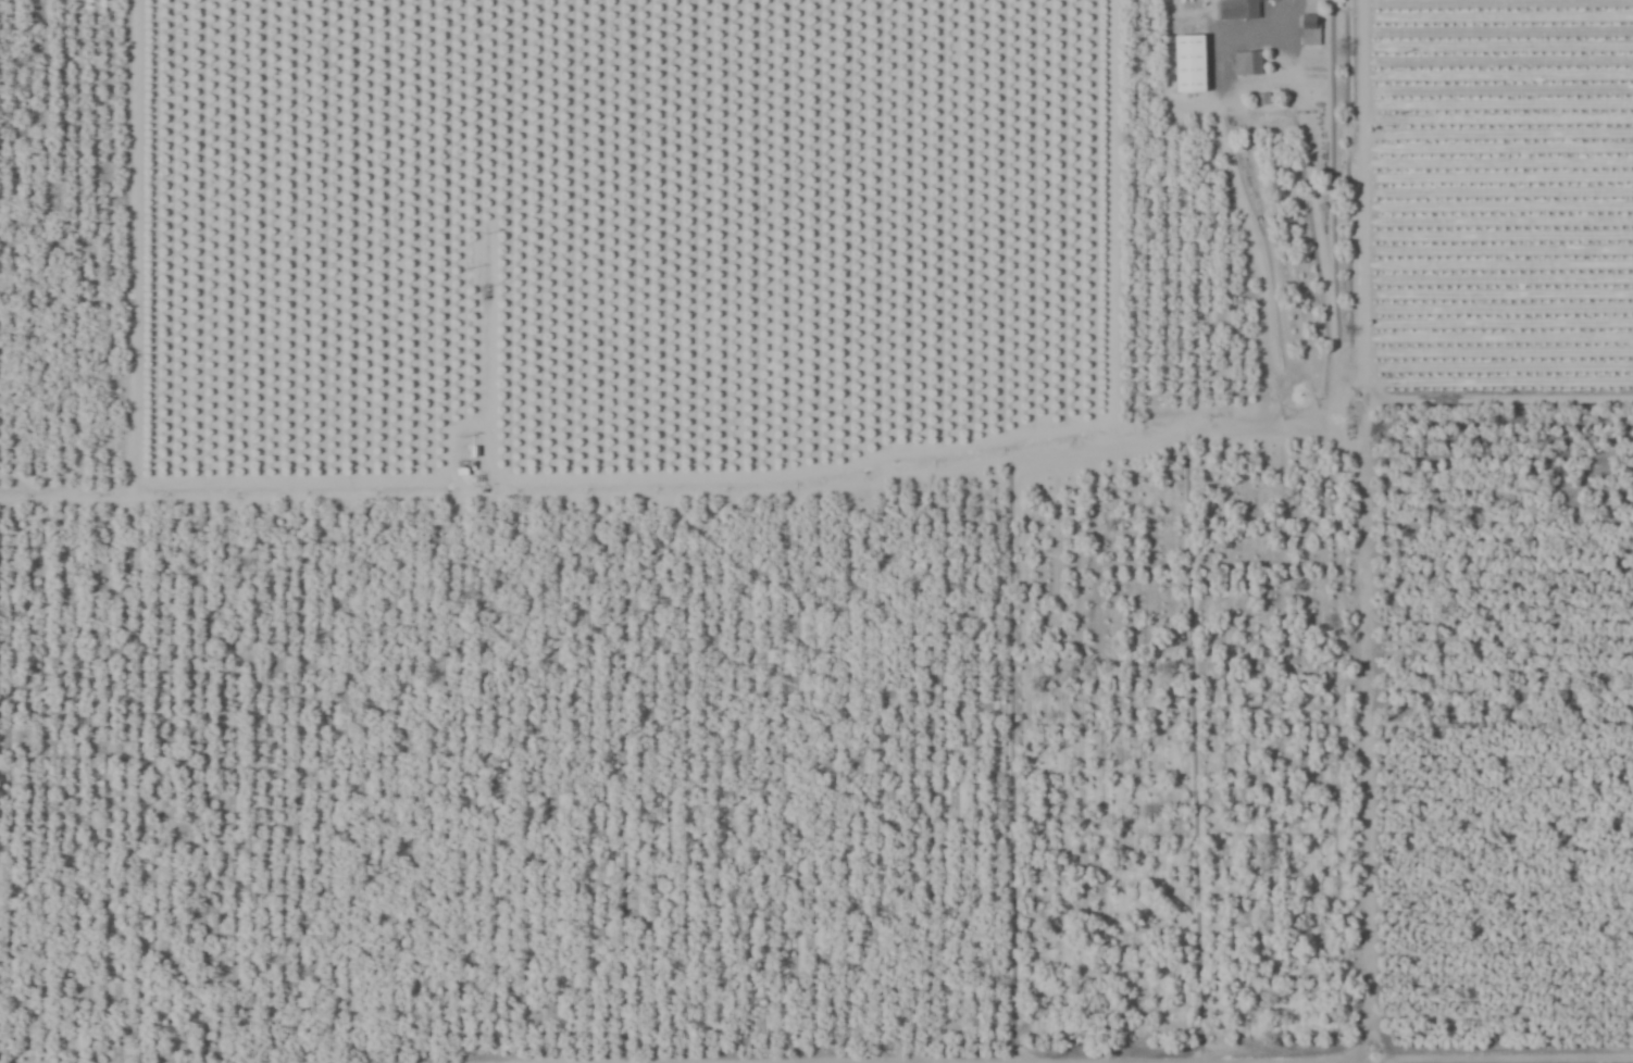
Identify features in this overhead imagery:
building: (1238, 10)
building: (1310, 35)
building: (1191, 64)
building: (1247, 64)

